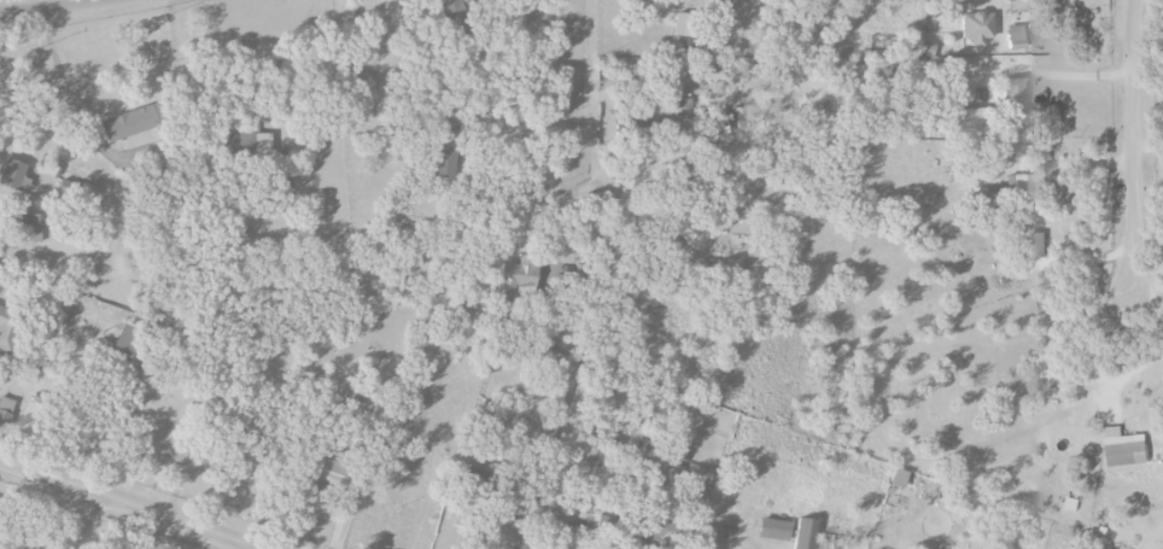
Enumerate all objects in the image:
road: (47, 7)
building: (451, 11)
building: (685, 24)
building: (976, 27)
building: (1015, 35)
road: (60, 60)
road: (1146, 60)
road: (577, 83)
building: (1015, 93)
building: (684, 110)
building: (968, 119)
building: (129, 123)
building: (234, 142)
building: (261, 145)
road: (1129, 146)
building: (445, 151)
building: (12, 174)
building: (1022, 187)
building: (30, 226)
building: (516, 278)
road: (1145, 284)
building: (6, 331)
building: (127, 340)
building: (5, 411)
building: (1127, 448)
building: (331, 469)
building: (899, 479)
building: (1071, 503)
road: (127, 506)
building: (588, 519)
building: (775, 530)
building: (805, 533)
road: (240, 547)

